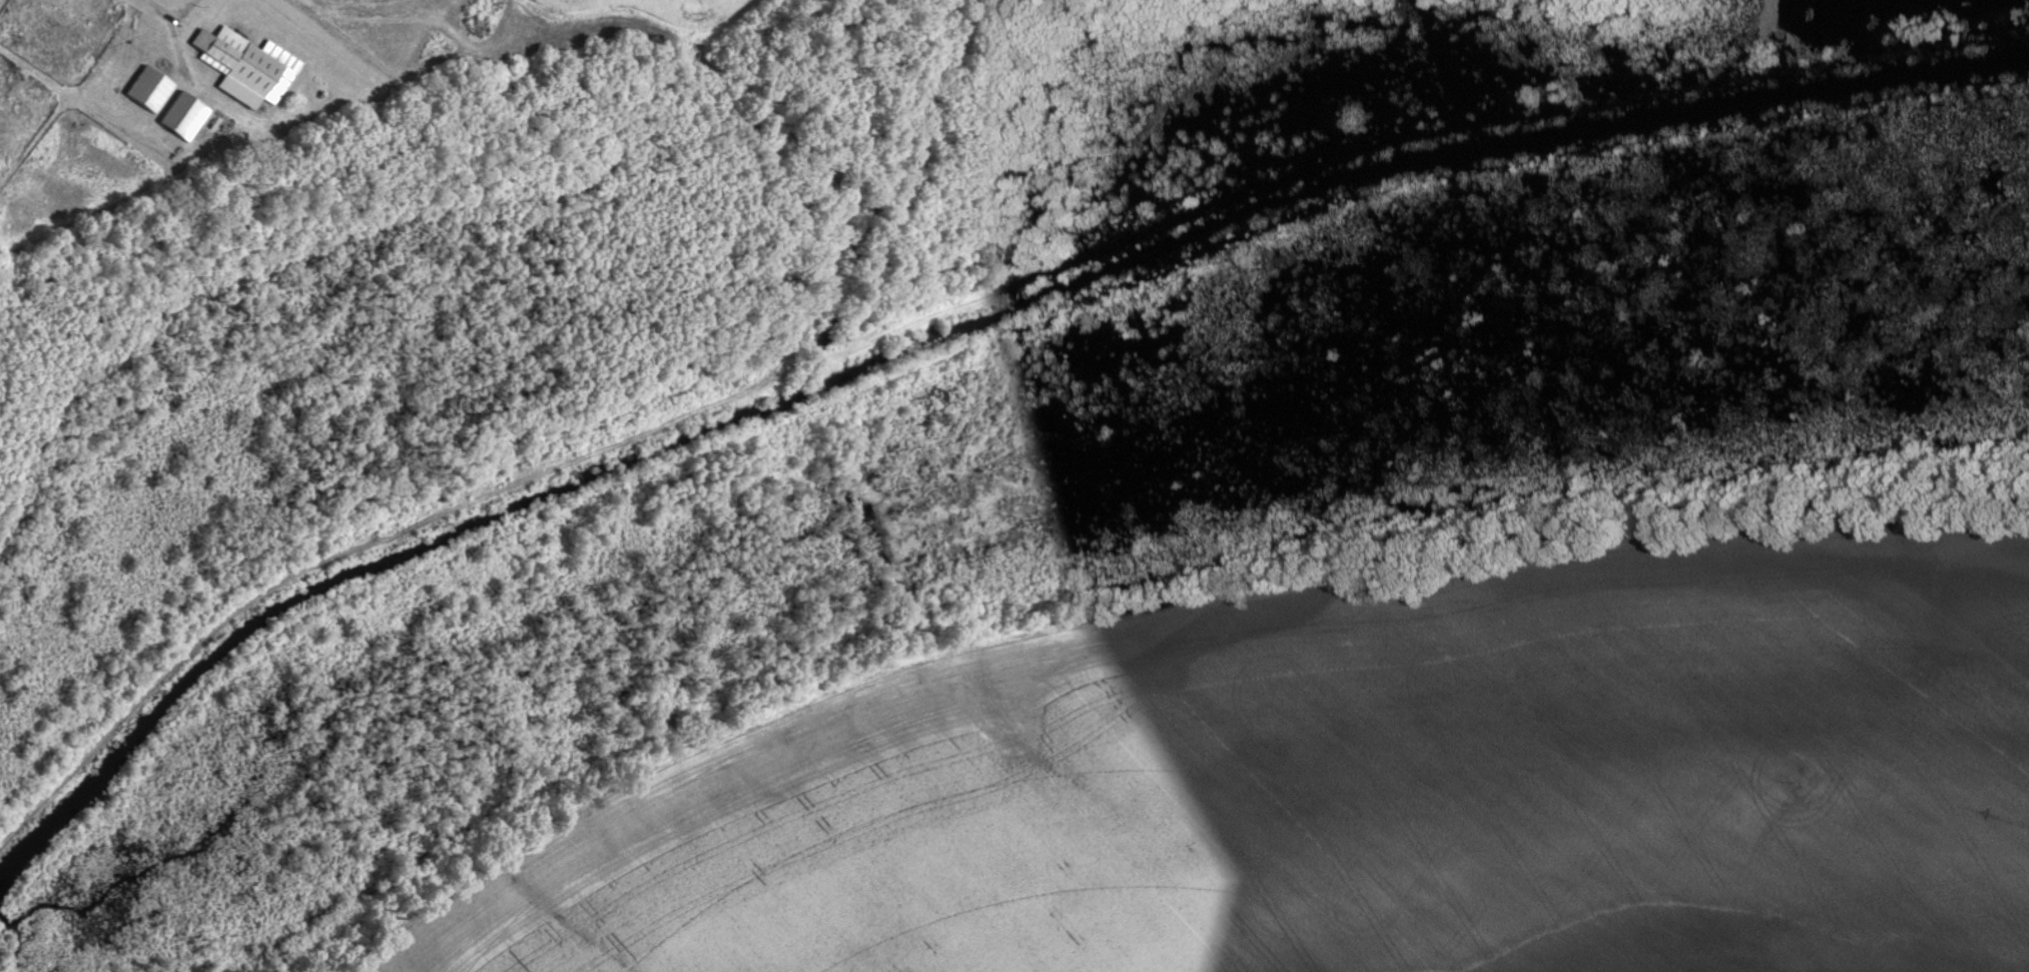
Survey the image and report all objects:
road: (178, 15)
building: (251, 67)
building: (154, 89)
building: (188, 116)

